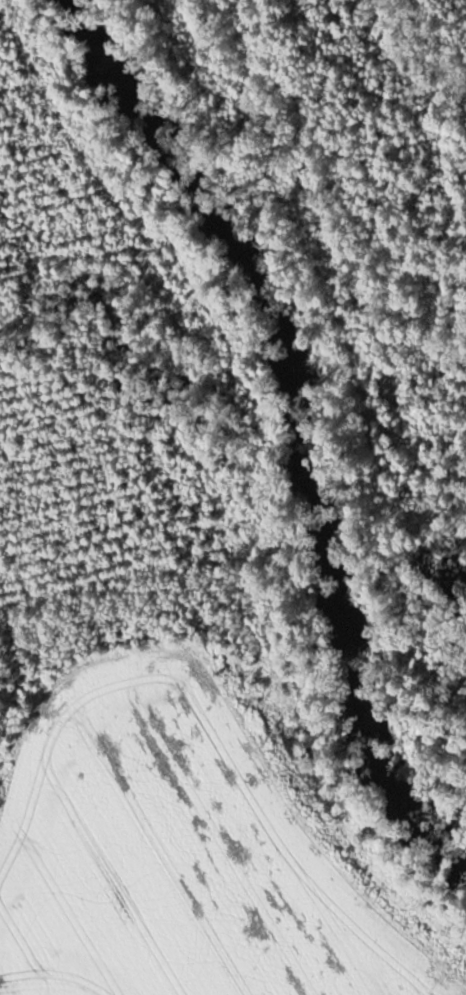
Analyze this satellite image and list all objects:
river: (302, 430)

